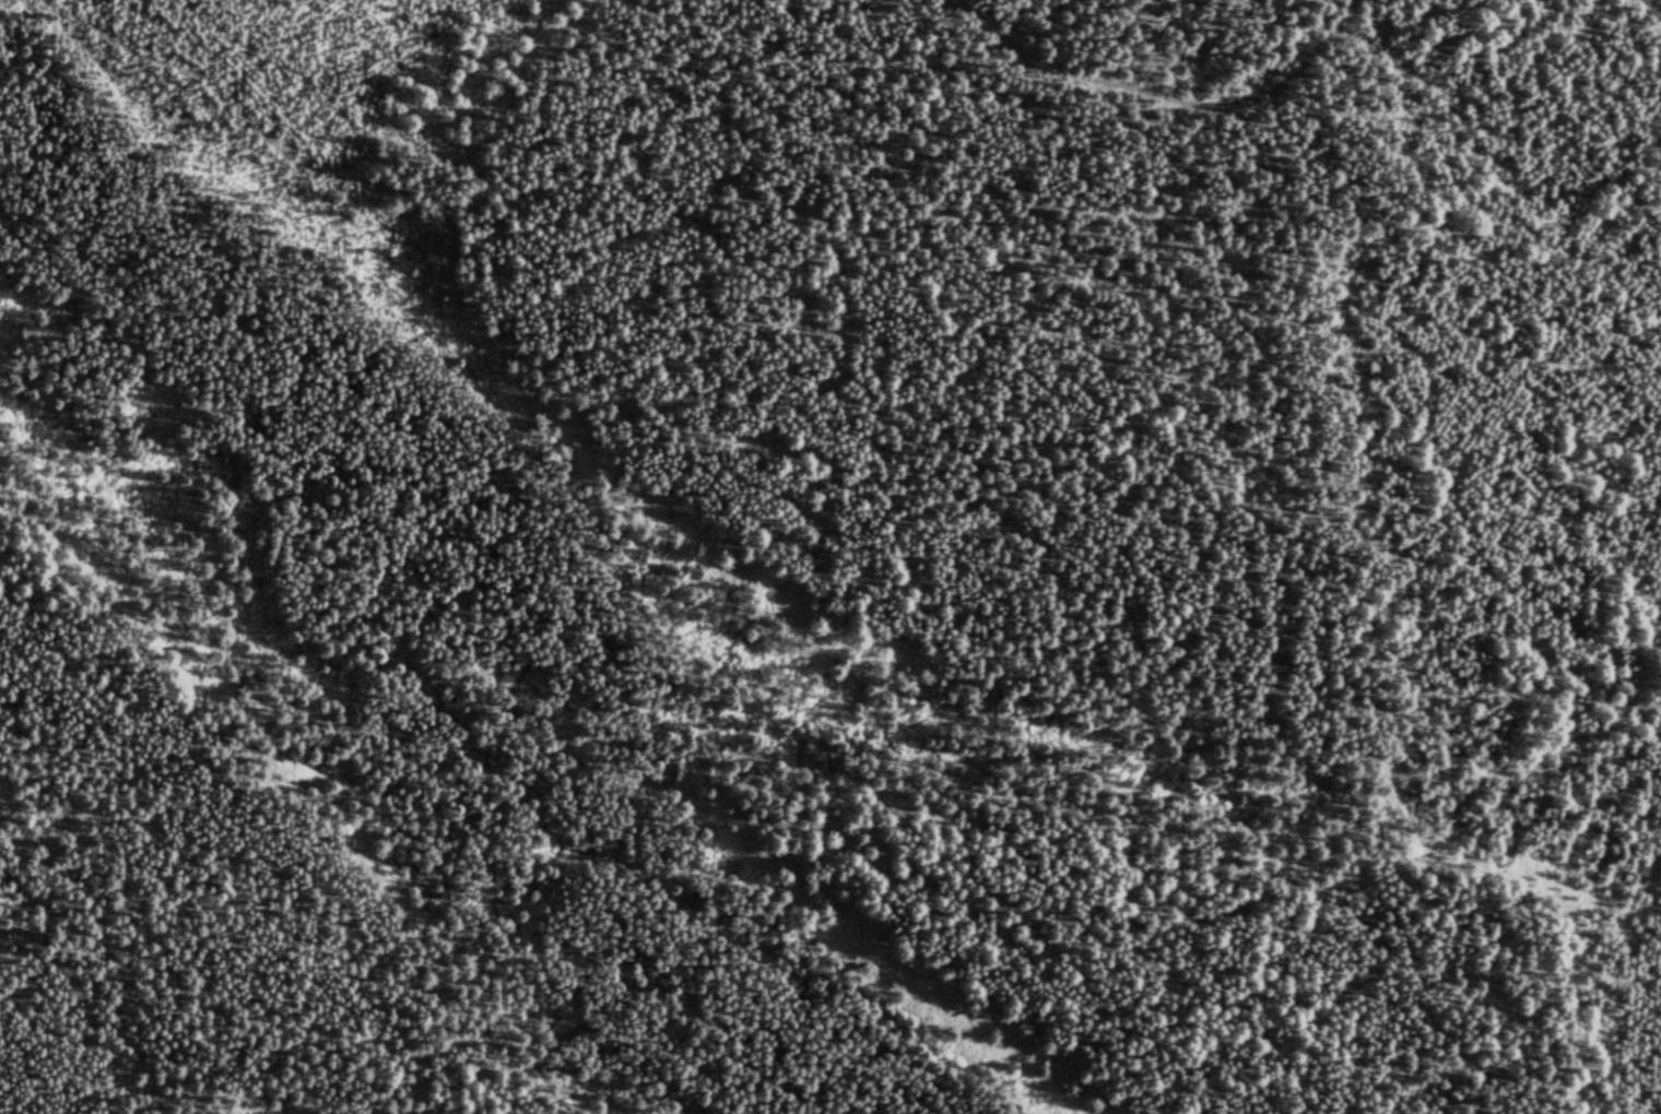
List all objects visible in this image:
road: (1158, 94)

